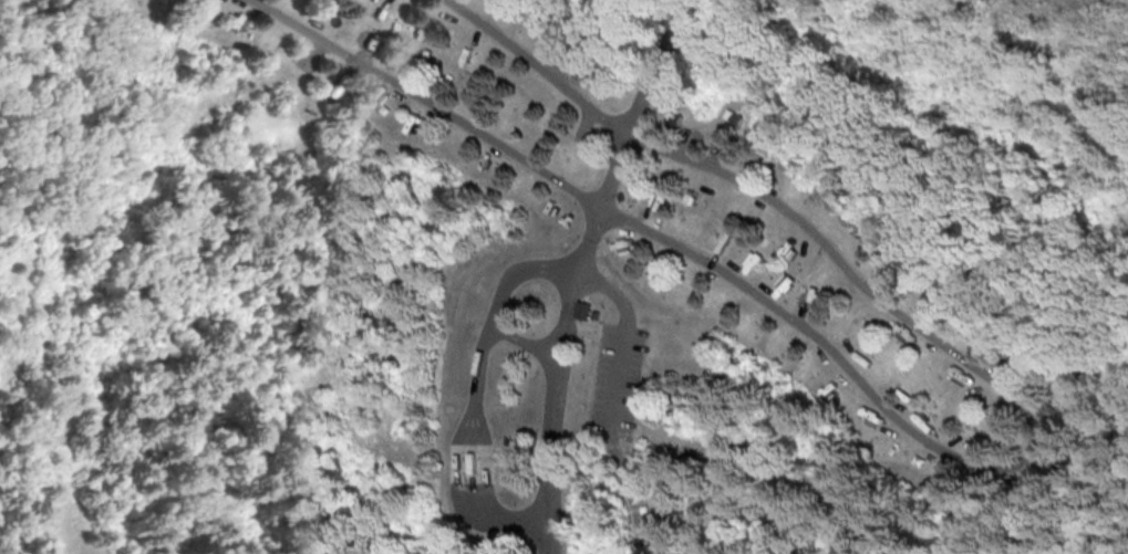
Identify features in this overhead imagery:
road: (487, 13)
park: (529, 20)
building: (589, 35)
parking lot: (561, 70)
building: (677, 118)
building: (736, 122)
road: (624, 138)
road: (685, 147)
road: (715, 159)
building: (633, 184)
park: (563, 276)
road: (493, 300)
building: (581, 312)
road: (622, 342)
parking lot: (615, 380)
building: (1082, 385)
road: (1077, 398)
road: (552, 415)
road: (470, 443)
road: (954, 457)
road: (1105, 468)
road: (623, 472)
building: (644, 505)
building: (650, 515)
road: (639, 533)
road: (0, 543)

